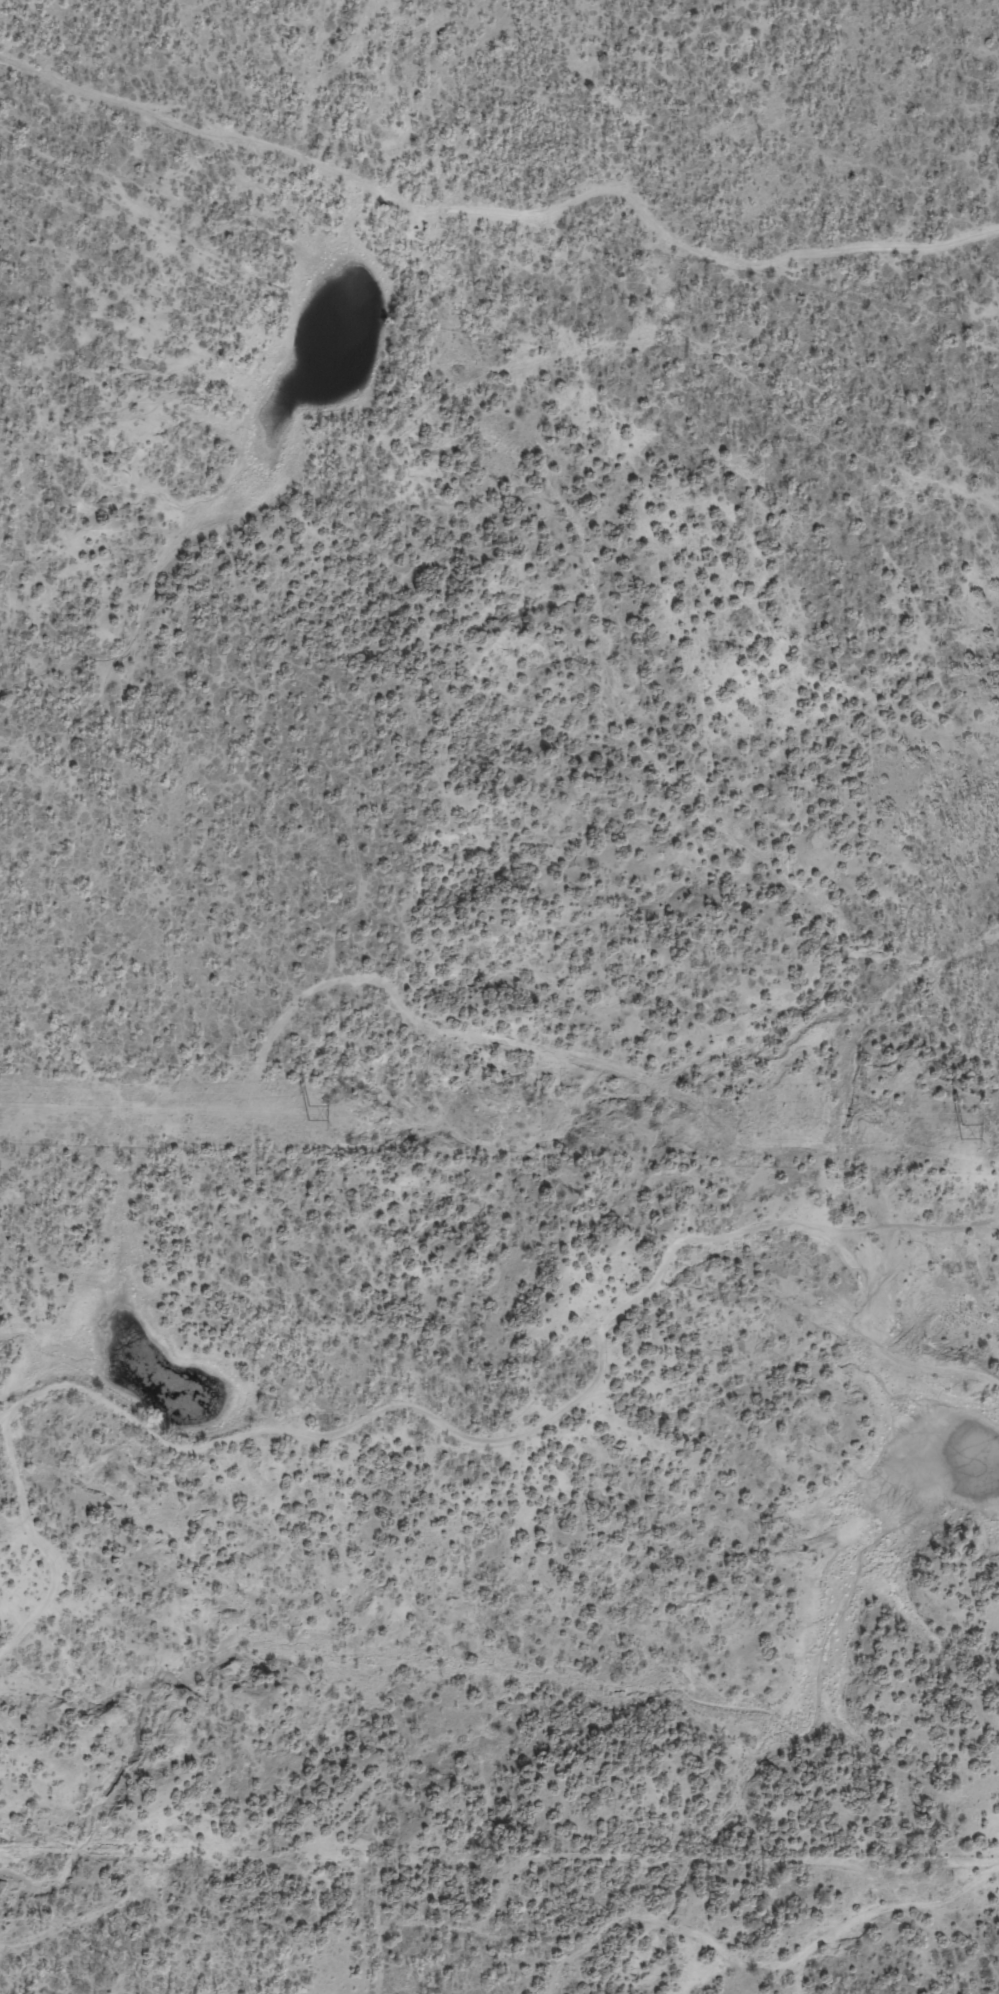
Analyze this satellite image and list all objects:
road: (104, 206)
power tower: (304, 1113)
power tower: (959, 1134)

